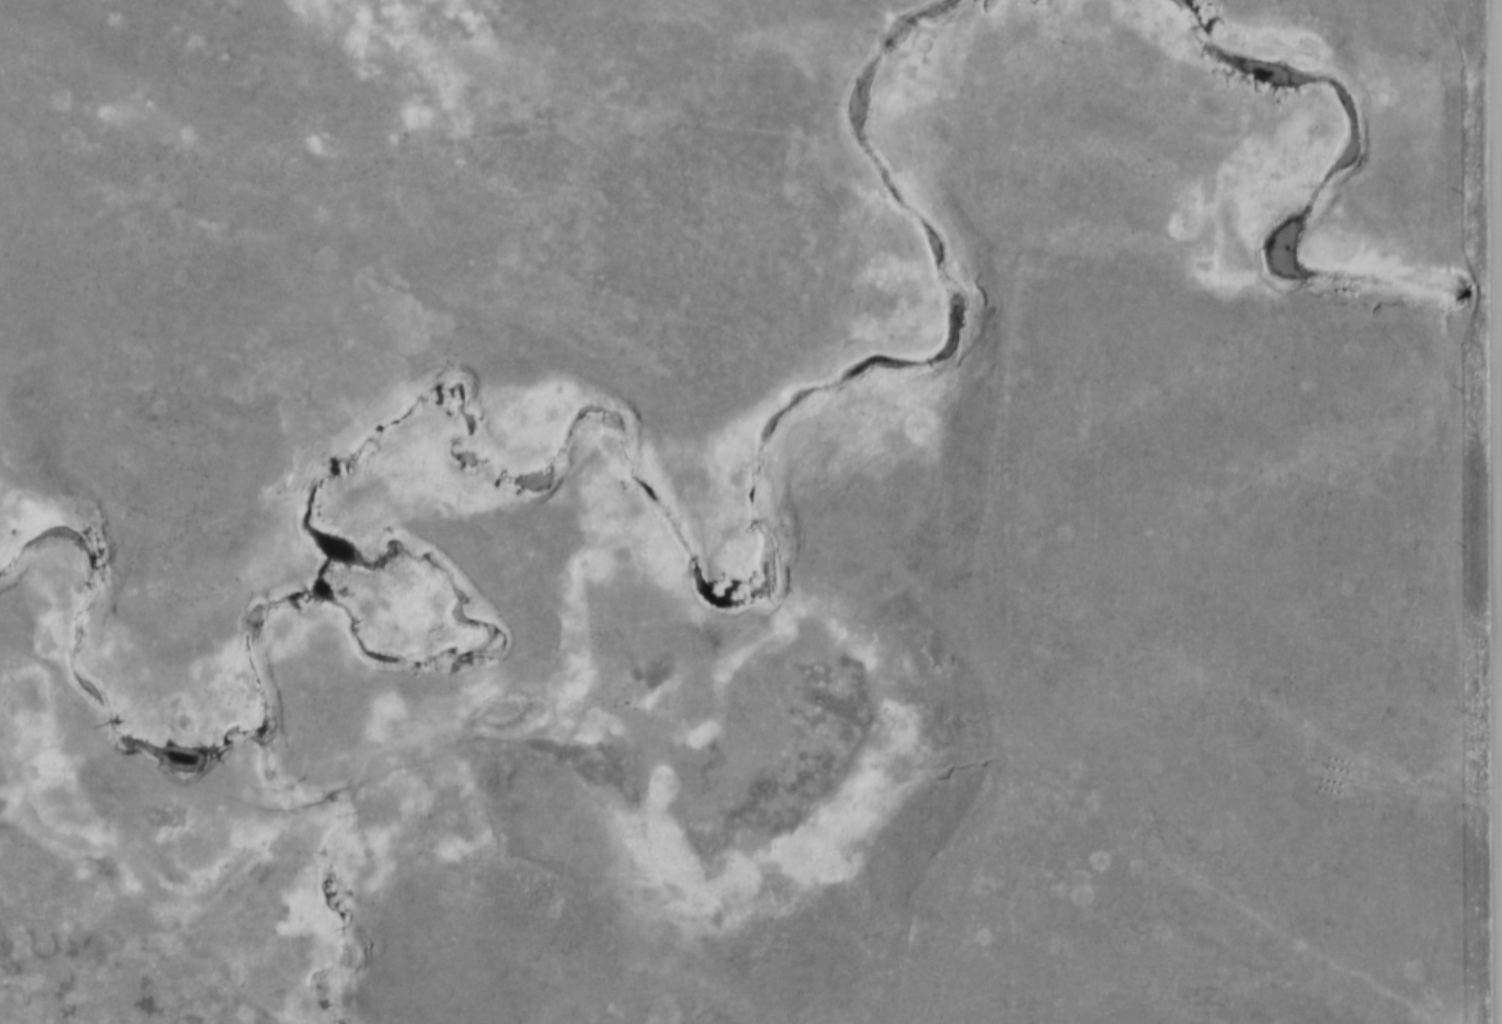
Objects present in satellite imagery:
road: (1499, 453)
road: (1501, 1014)

